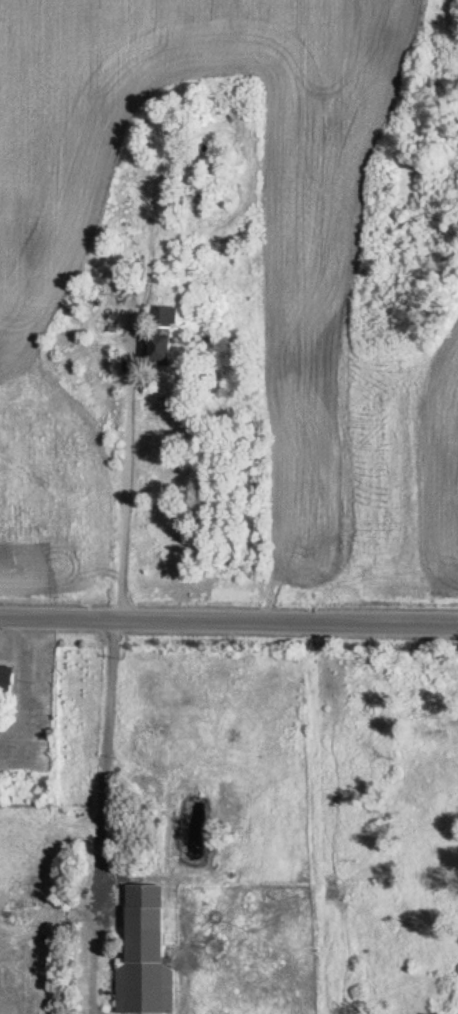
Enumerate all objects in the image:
building: (170, 317)
building: (169, 352)
road: (128, 480)
road: (228, 619)
building: (10, 683)
road: (103, 815)
building: (151, 950)

